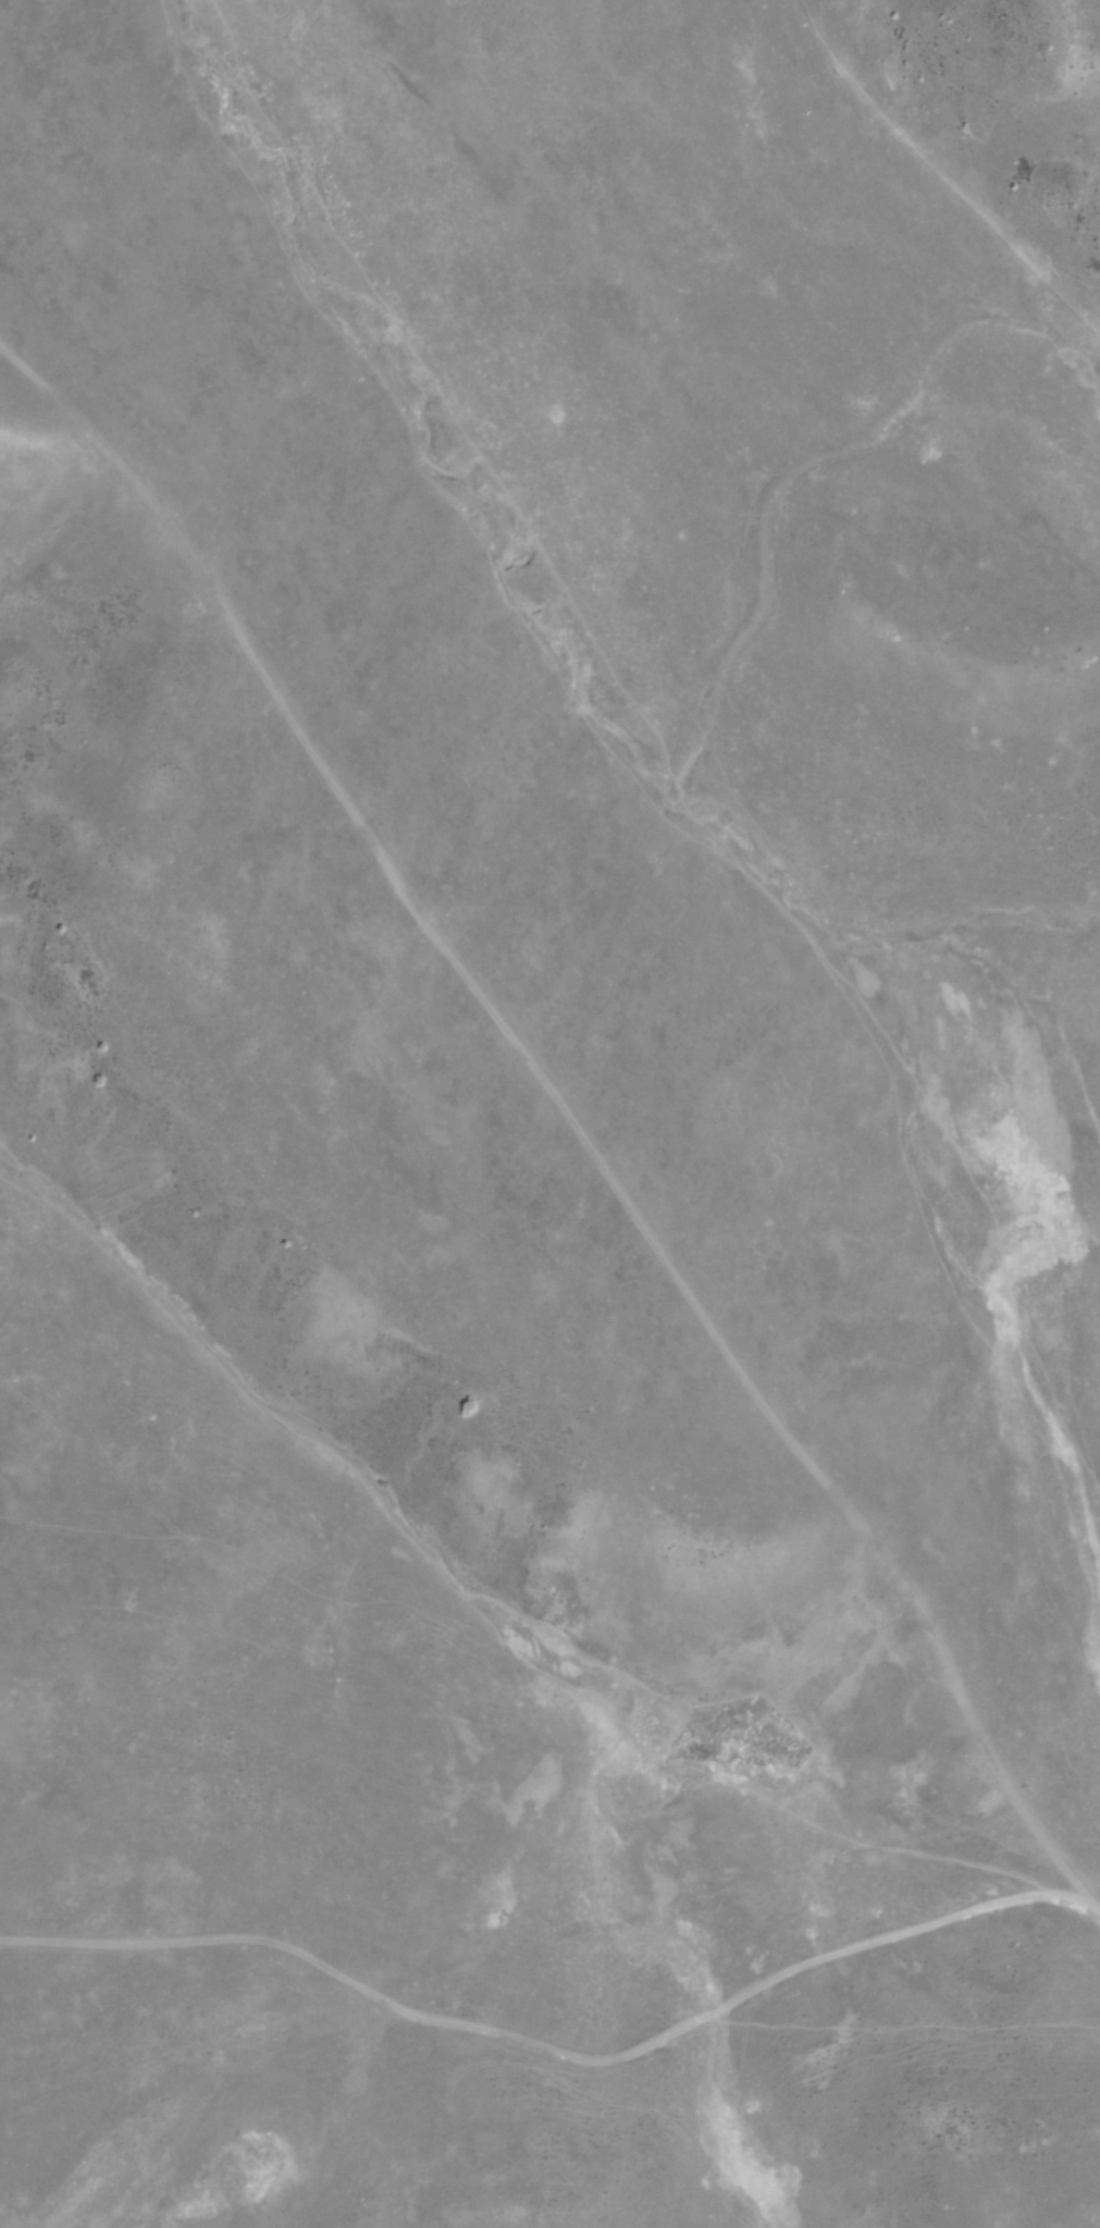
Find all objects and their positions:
road: (553, 2031)

